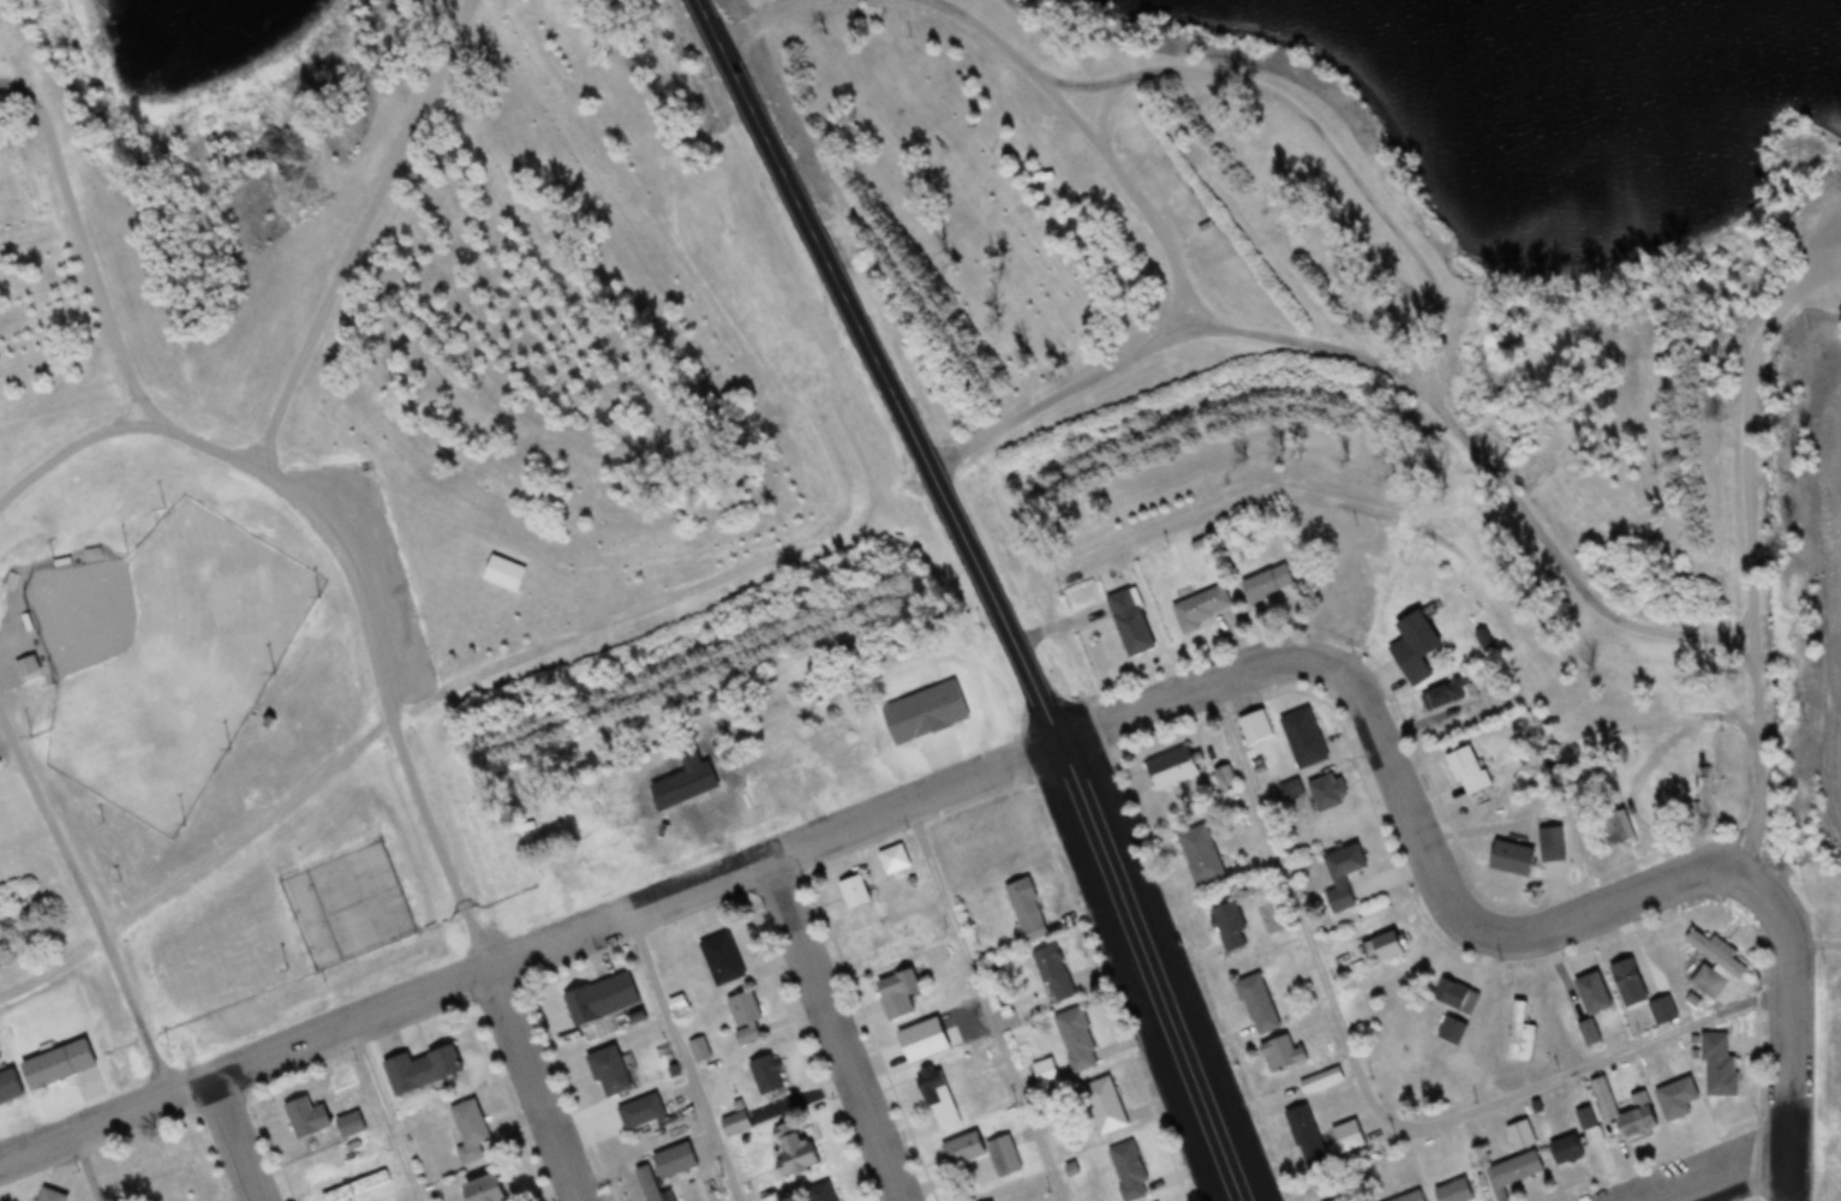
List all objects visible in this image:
road: (752, 12)
road: (715, 13)
road: (16, 77)
building: (987, 130)
road: (1101, 143)
road: (1320, 144)
road: (77, 205)
building: (1057, 226)
road: (355, 229)
road: (46, 268)
road: (1387, 354)
road: (351, 563)
building: (504, 574)
building: (1269, 584)
road: (1002, 605)
building: (1203, 610)
building: (1132, 622)
building: (1418, 646)
park: (159, 656)
building: (26, 667)
building: (1443, 695)
building: (1304, 739)
road: (1757, 739)
building: (1174, 767)
building: (1469, 771)
building: (1225, 781)
building: (1291, 790)
building: (1704, 791)
building: (1327, 794)
road: (933, 802)
road: (49, 806)
road: (256, 824)
building: (1620, 826)
building: (1549, 843)
building: (1201, 854)
building: (893, 858)
building: (1513, 858)
building: (1343, 876)
building: (855, 891)
building: (1027, 909)
building: (1229, 926)
building: (878, 934)
building: (1699, 942)
building: (1387, 945)
building: (721, 958)
building: (1054, 974)
building: (1706, 980)
building: (1628, 982)
building: (898, 992)
building: (1594, 993)
building: (1457, 994)
building: (603, 999)
building: (1259, 1004)
road: (980, 1008)
road: (135, 1009)
building: (1662, 1011)
building: (746, 1017)
building: (1453, 1029)
building: (1589, 1033)
road: (830, 1034)
building: (1520, 1034)
building: (1076, 1040)
building: (921, 1045)
building: (699, 1050)
building: (1280, 1053)
building: (61, 1060)
road: (681, 1062)
building: (1723, 1063)
building: (425, 1070)
building: (611, 1070)
building: (1045, 1071)
building: (766, 1074)
building: (11, 1087)
road: (539, 1088)
building: (938, 1097)
building: (1104, 1106)
building: (1660, 1110)
building: (640, 1112)
road: (384, 1116)
building: (309, 1117)
building: (735, 1123)
building: (352, 1124)
building: (472, 1131)
building: (1305, 1135)
building: (1349, 1136)
building: (1522, 1136)
road: (215, 1146)
building: (1567, 1151)
building: (797, 1155)
building: (981, 1159)
building: (1128, 1170)
road: (83, 1171)
building: (667, 1171)
building: (1517, 1171)
road: (1749, 1183)
building: (358, 1187)
building: (494, 1189)
building: (1454, 1191)
building: (819, 1193)
building: (53, 1195)
building: (1412, 1197)
building: (1341, 1199)
building: (998, 1200)

